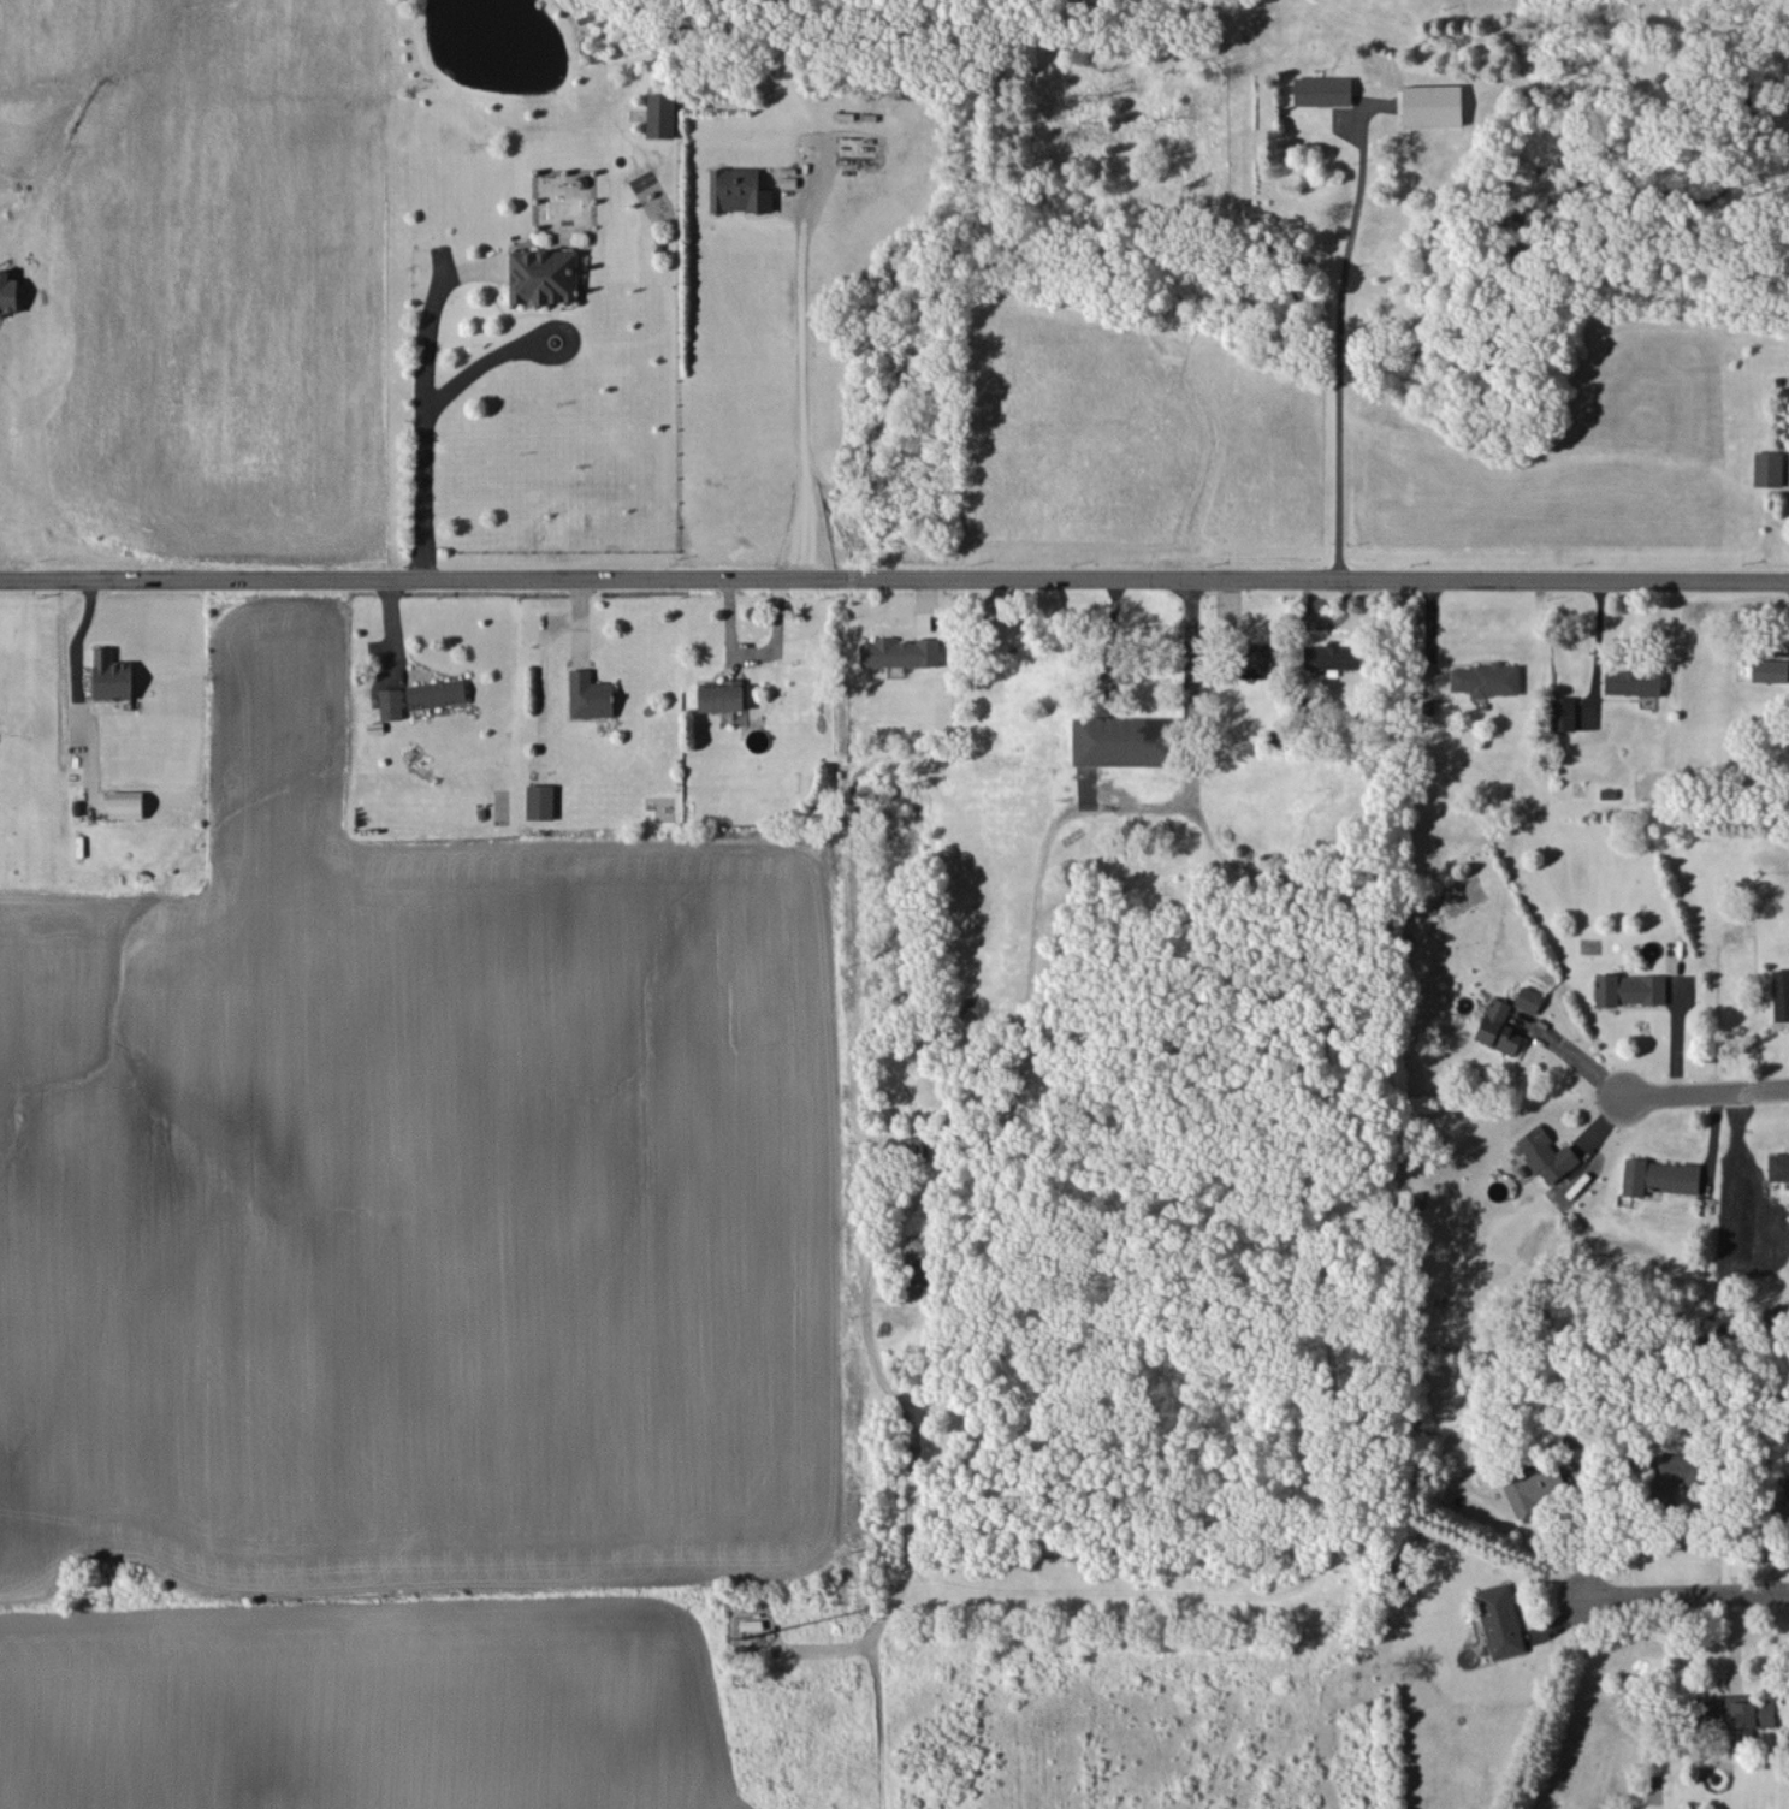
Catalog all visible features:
building: (1322, 90)
building: (1432, 105)
building: (660, 114)
building: (787, 180)
building: (739, 190)
building: (543, 275)
building: (8, 292)
road: (525, 332)
road: (1344, 349)
road: (794, 380)
road: (421, 420)
building: (1767, 468)
road: (894, 569)
road: (1100, 631)
road: (70, 637)
road: (1592, 640)
building: (900, 652)
building: (1331, 656)
building: (1256, 659)
building: (1770, 670)
building: (111, 676)
road: (1187, 678)
building: (1486, 678)
building: (1633, 682)
building: (437, 693)
building: (590, 695)
building: (721, 695)
building: (391, 704)
building: (1563, 712)
building: (1122, 741)
building: (540, 802)
building: (125, 805)
road: (1031, 974)
building: (1630, 989)
building: (1781, 994)
building: (1528, 998)
building: (1498, 1027)
road: (1694, 1084)
building: (1546, 1155)
building: (1778, 1167)
building: (1659, 1176)
building: (919, 1265)
building: (1676, 1472)
building: (1787, 1485)
building: (1534, 1488)
road: (1675, 1589)
building: (1500, 1620)
building: (1712, 1709)
building: (1749, 1714)

